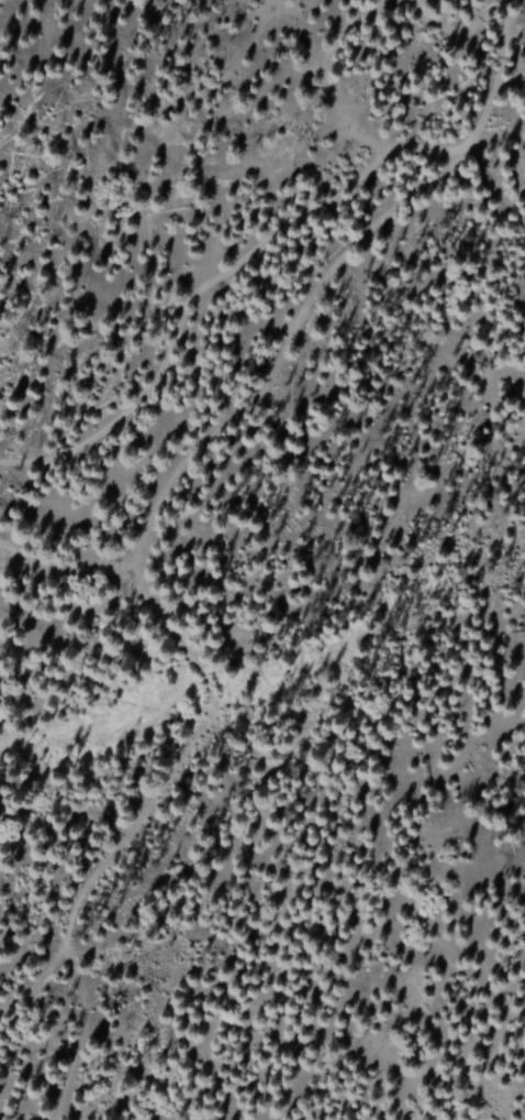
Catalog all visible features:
road: (225, 575)

